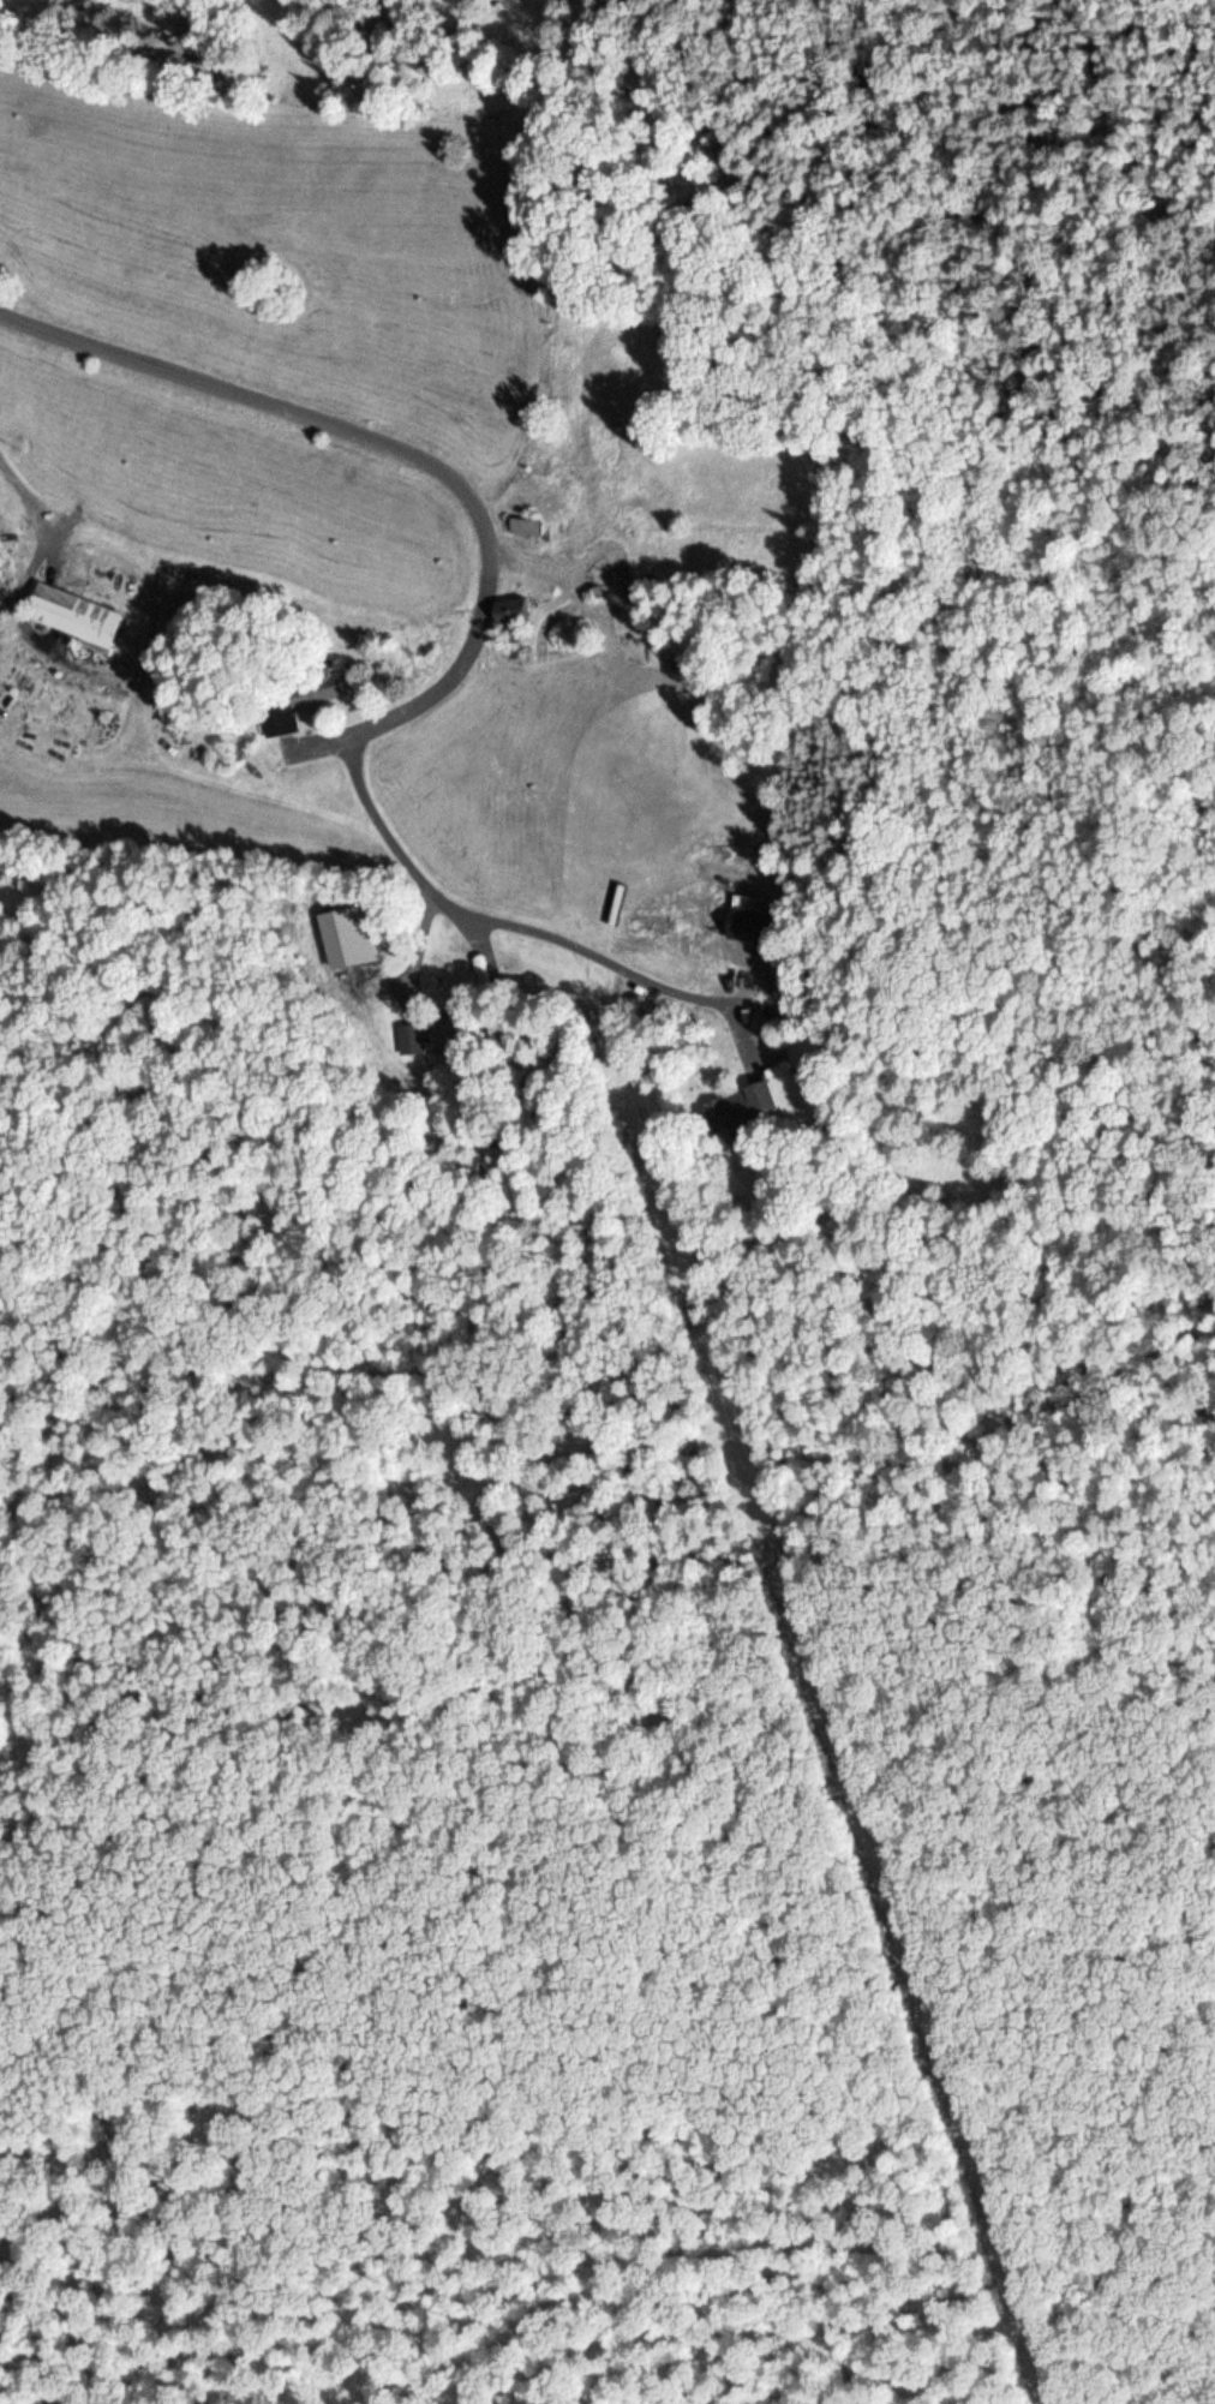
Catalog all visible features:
road: (383, 447)
building: (67, 614)
building: (300, 698)
road: (315, 744)
road: (492, 926)
building: (430, 1034)
building: (806, 1051)
building: (741, 1107)

